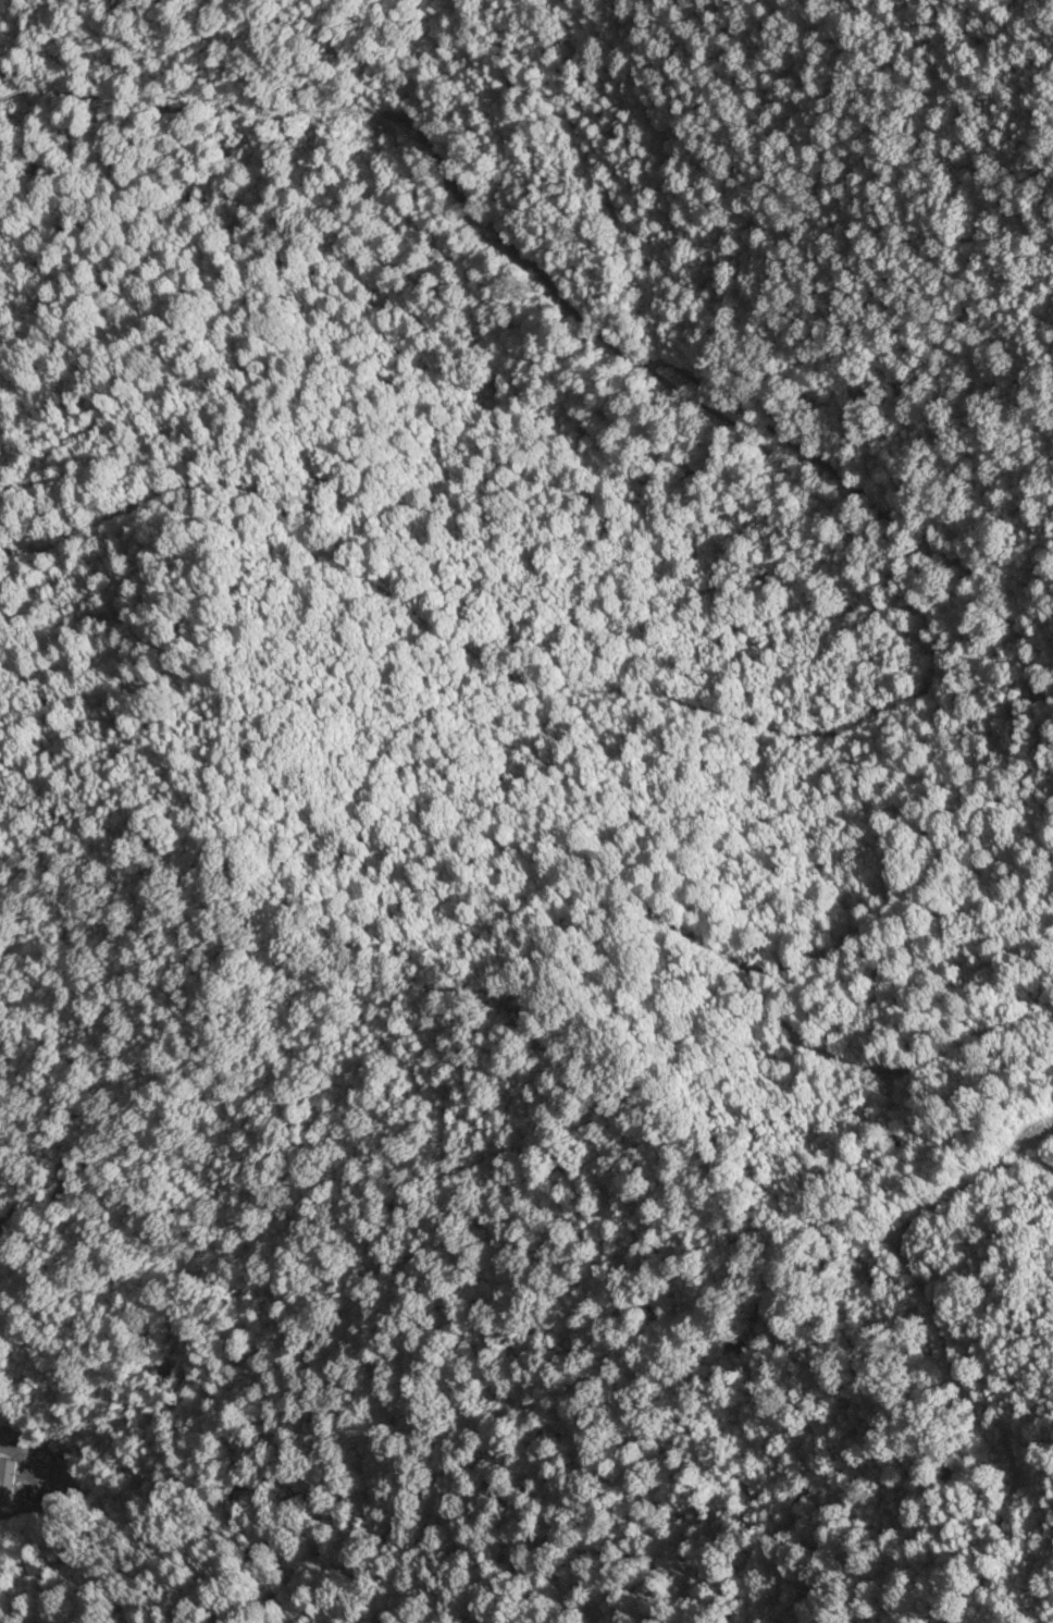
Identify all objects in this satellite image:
building: (7, 1481)

